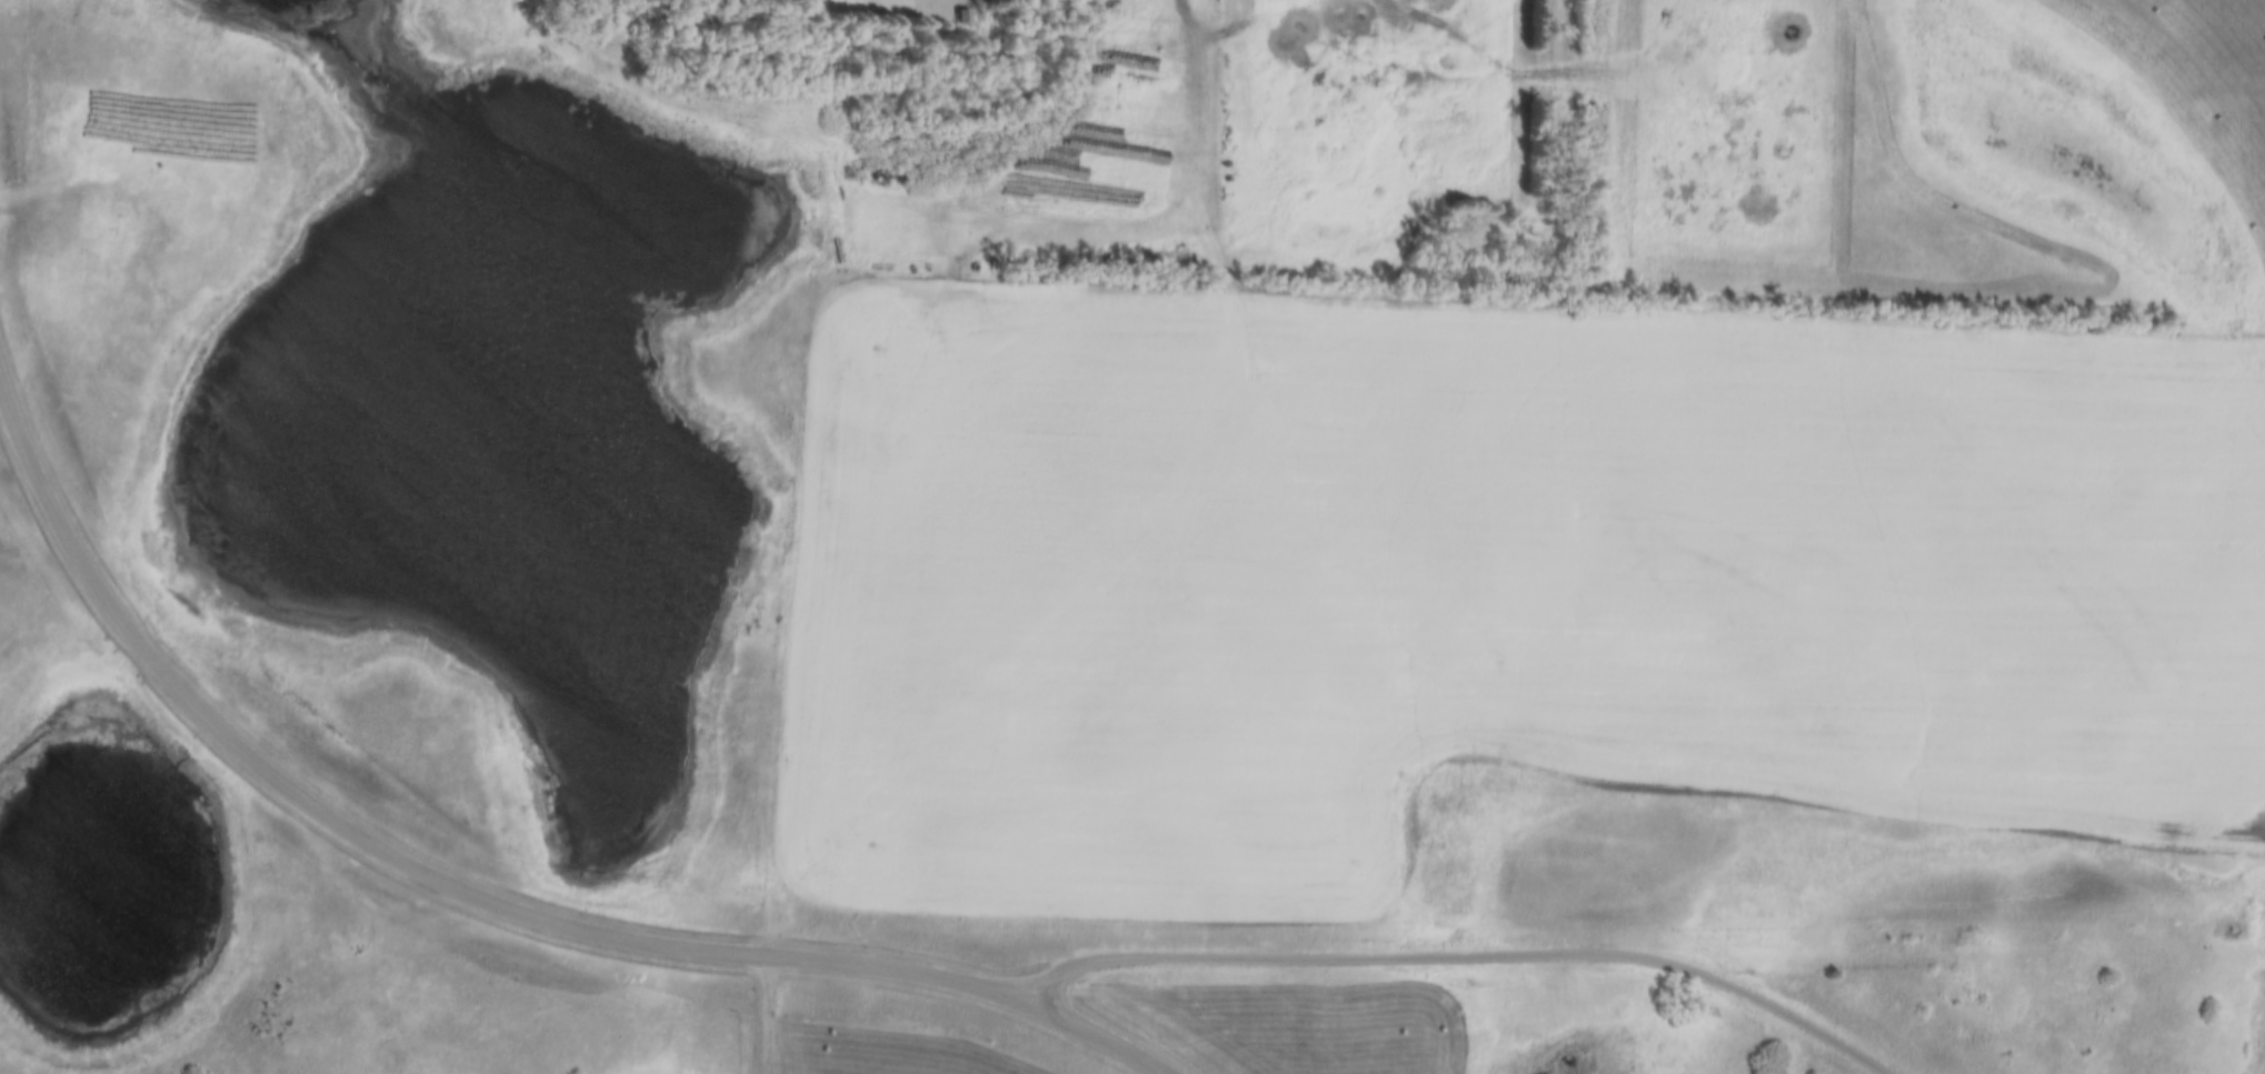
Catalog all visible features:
road: (1217, 22)
road: (480, 894)
road: (1455, 954)
road: (769, 1014)

